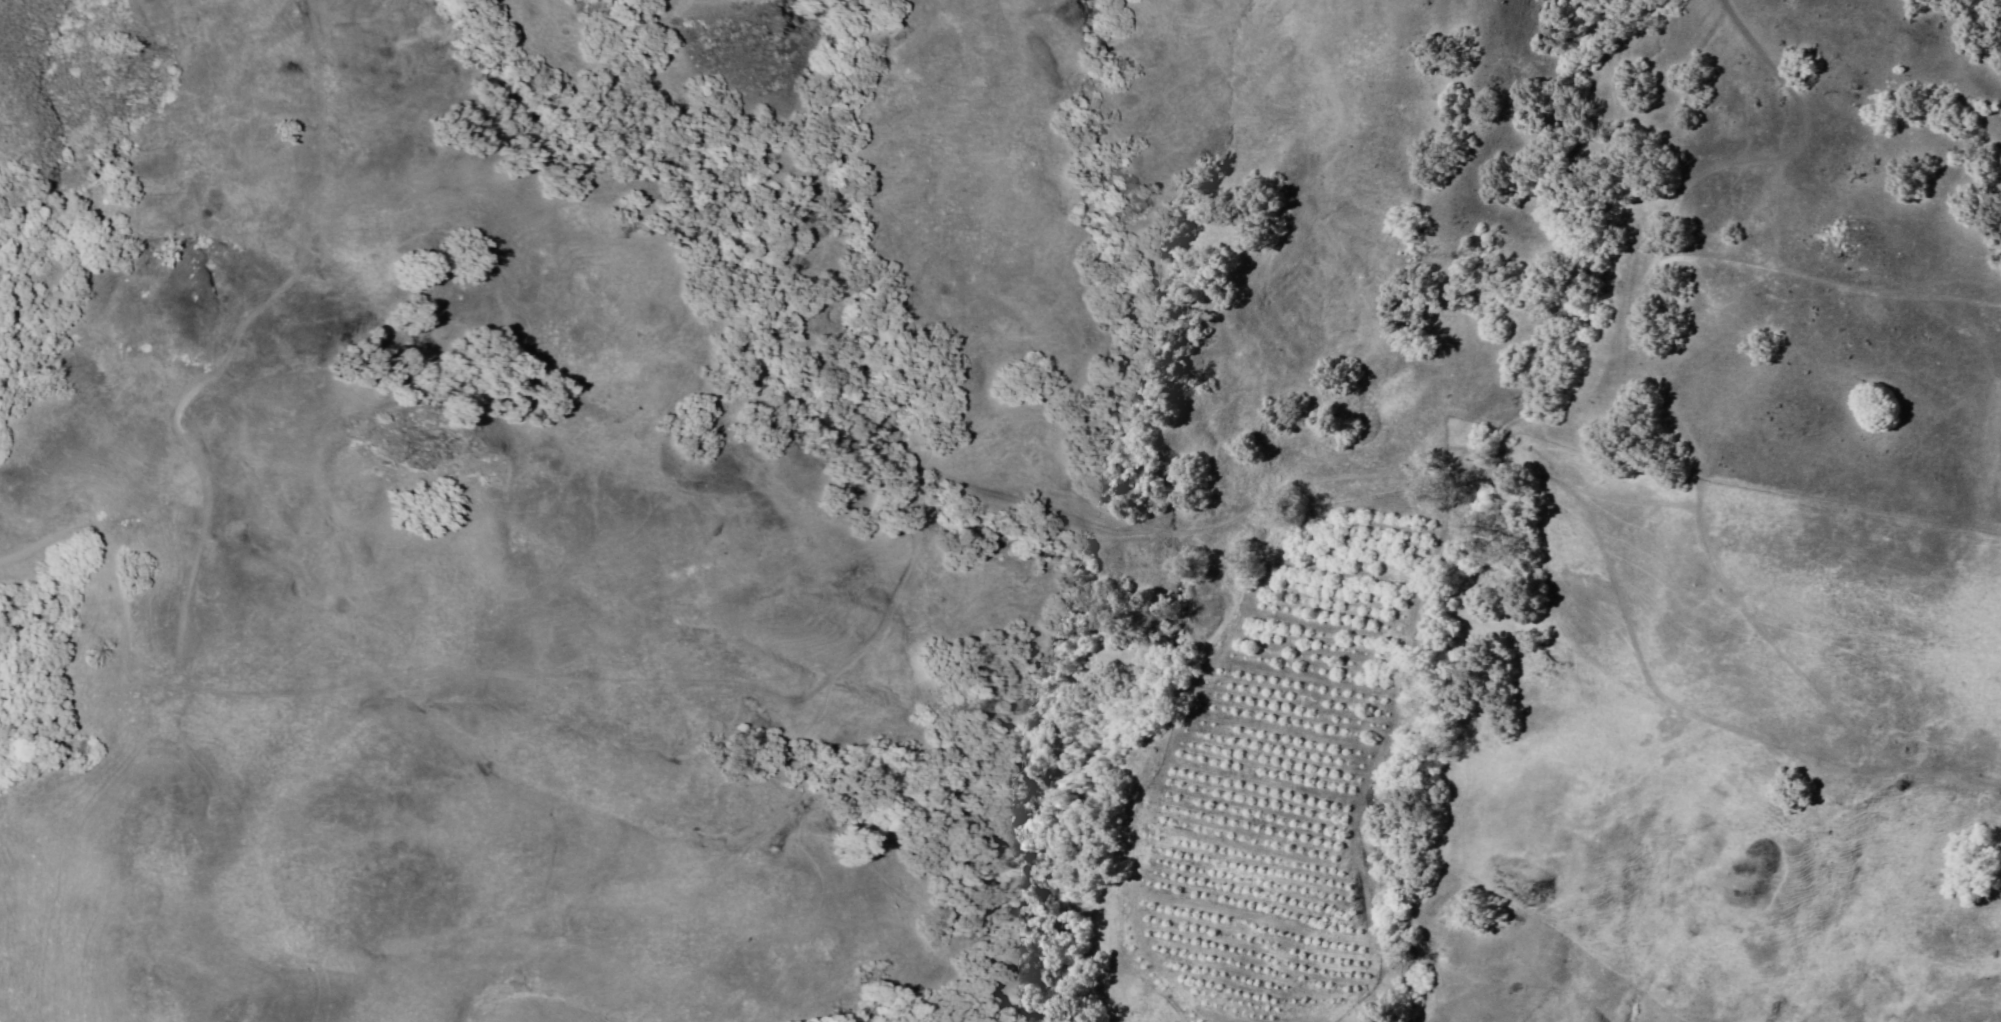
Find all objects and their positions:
road: (1664, 400)
road: (198, 462)
crop: (1260, 849)

